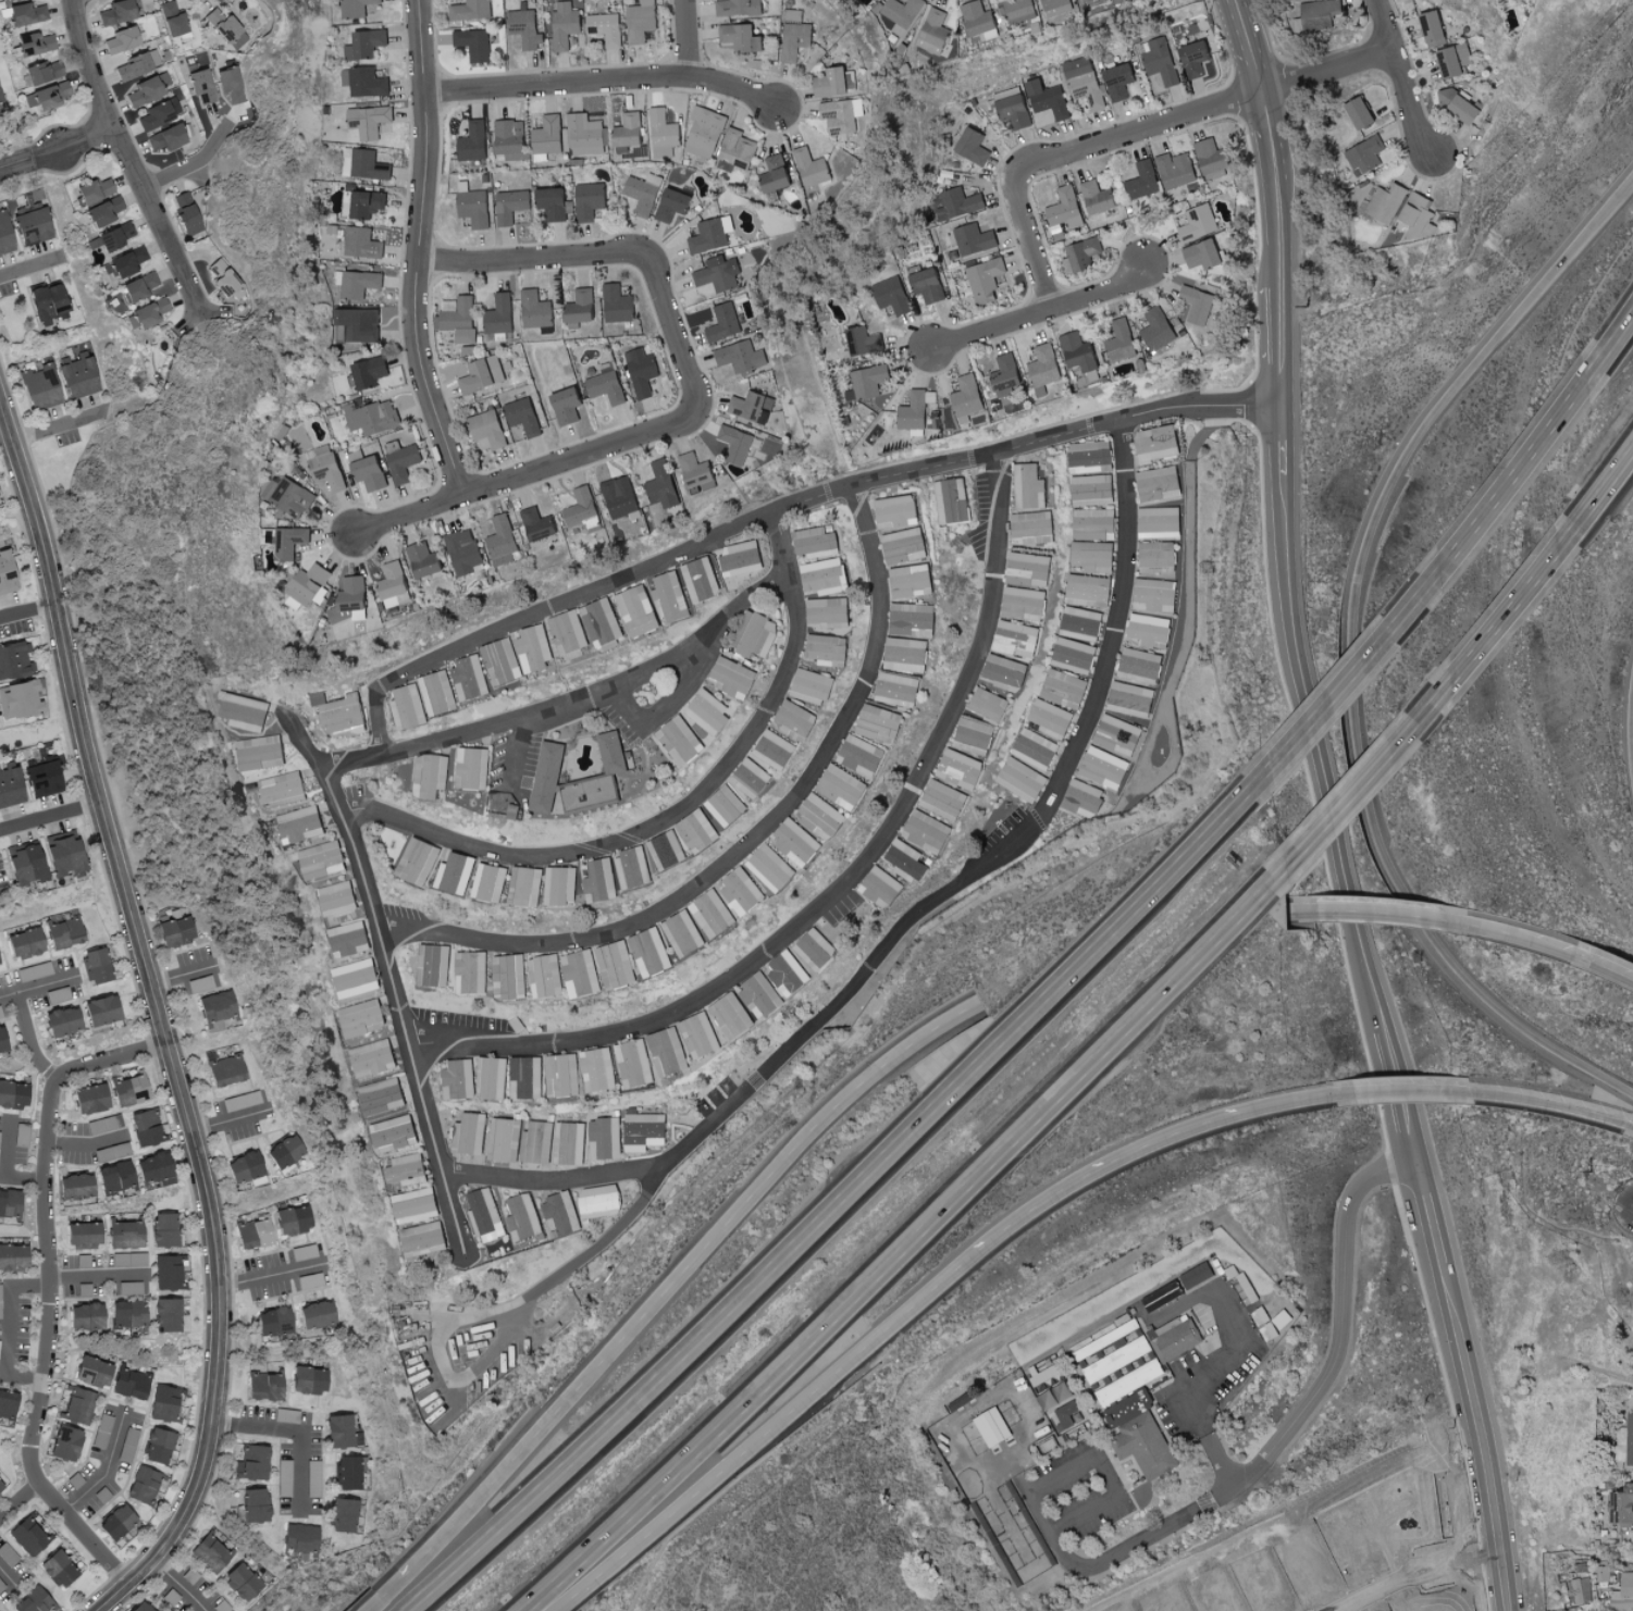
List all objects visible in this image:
building: (1096, 2)
building: (1057, 5)
building: (359, 7)
building: (740, 7)
building: (472, 9)
building: (1023, 12)
building: (117, 13)
building: (1321, 13)
building: (26, 14)
building: (902, 14)
building: (642, 20)
building: (981, 20)
building: (173, 21)
building: (566, 24)
building: (527, 26)
building: (607, 27)
building: (1434, 27)
building: (226, 28)
building: (936, 30)
building: (742, 36)
road: (689, 37)
building: (796, 38)
building: (121, 40)
building: (367, 42)
building: (475, 42)
building: (34, 45)
road: (1252, 45)
building: (1196, 58)
building: (1160, 59)
building: (1455, 59)
building: (138, 65)
building: (44, 72)
road: (1402, 77)
building: (366, 80)
building: (1085, 80)
building: (1119, 80)
road: (604, 82)
building: (837, 82)
building: (231, 85)
building: (201, 86)
building: (147, 90)
building: (47, 97)
building: (1049, 98)
building: (1460, 103)
building: (1014, 107)
road: (1270, 108)
building: (1362, 112)
building: (159, 114)
building: (844, 115)
building: (370, 120)
road: (1141, 128)
building: (630, 129)
building: (706, 131)
building: (665, 133)
building: (549, 134)
building: (587, 134)
building: (166, 138)
building: (511, 138)
building: (474, 140)
building: (974, 145)
building: (739, 147)
road: (57, 149)
road: (127, 154)
building: (1366, 154)
building: (1214, 158)
road: (1275, 160)
road: (193, 162)
building: (366, 163)
building: (813, 166)
building: (1176, 169)
building: (777, 173)
building: (1143, 179)
building: (94, 190)
building: (644, 191)
building: (1099, 197)
building: (591, 199)
building: (363, 202)
building: (554, 202)
building: (958, 202)
building: (673, 203)
building: (1385, 203)
building: (474, 205)
building: (512, 205)
building: (102, 212)
building: (186, 214)
building: (1418, 214)
building: (1199, 222)
building: (32, 224)
building: (4, 234)
building: (709, 235)
building: (114, 237)
building: (975, 238)
road: (1279, 239)
building: (363, 241)
road: (418, 250)
road: (593, 253)
building: (1204, 253)
building: (1083, 255)
building: (126, 263)
road: (30, 269)
building: (720, 273)
building: (986, 278)
building: (226, 282)
building: (358, 282)
building: (929, 285)
building: (138, 287)
building: (892, 295)
building: (48, 303)
building: (619, 303)
building: (1199, 303)
road: (195, 307)
building: (581, 308)
building: (536, 309)
road: (1041, 311)
building: (146, 314)
building: (458, 315)
building: (500, 315)
building: (725, 322)
building: (360, 323)
building: (1159, 329)
road: (1620, 335)
building: (1122, 339)
building: (864, 340)
road: (1278, 344)
building: (1079, 350)
building: (742, 356)
building: (1046, 364)
building: (371, 371)
building: (642, 371)
building: (1007, 373)
building: (483, 374)
building: (78, 375)
building: (870, 380)
building: (607, 383)
building: (40, 388)
building: (968, 399)
building: (568, 405)
building: (753, 406)
building: (524, 414)
building: (373, 416)
road: (58, 427)
road: (3, 430)
building: (488, 430)
road: (1282, 437)
building: (1159, 442)
building: (738, 443)
building: (1091, 455)
building: (403, 459)
building: (326, 466)
road: (540, 468)
building: (369, 469)
building: (697, 471)
building: (1160, 482)
building: (664, 483)
building: (1030, 485)
building: (1092, 488)
road: (1605, 490)
building: (289, 496)
building: (622, 496)
building: (953, 499)
building: (582, 505)
road: (783, 507)
building: (898, 509)
building: (1160, 520)
building: (539, 522)
building: (1094, 522)
building: (1035, 525)
building: (504, 538)
building: (290, 541)
building: (817, 541)
building: (906, 544)
building: (466, 549)
building: (1093, 555)
building: (1158, 555)
building: (742, 556)
building: (424, 558)
building: (1030, 568)
building: (7, 573)
building: (826, 574)
road: (1438, 574)
building: (703, 578)
building: (913, 579)
building: (310, 583)
building: (395, 583)
building: (1089, 588)
building: (1155, 592)
building: (672, 595)
building: (351, 598)
building: (1025, 602)
building: (639, 609)
building: (830, 610)
road: (26, 611)
building: (914, 617)
building: (604, 621)
building: (1080, 624)
building: (1151, 629)
building: (571, 632)
building: (757, 632)
building: (1018, 636)
road: (1295, 637)
building: (536, 645)
building: (829, 648)
building: (907, 653)
road: (1351, 653)
building: (1075, 654)
building: (15, 659)
building: (503, 659)
building: (1141, 664)
building: (1007, 671)
building: (734, 676)
building: (470, 677)
building: (814, 685)
building: (900, 686)
building: (1064, 687)
building: (438, 691)
building: (18, 698)
building: (1133, 701)
road: (665, 703)
building: (990, 703)
building: (408, 705)
road: (569, 705)
road: (1430, 706)
building: (247, 710)
building: (709, 712)
building: (1051, 717)
building: (797, 719)
building: (881, 722)
building: (1118, 733)
building: (976, 734)
building: (681, 739)
building: (778, 746)
building: (1036, 747)
building: (261, 751)
building: (614, 751)
road: (518, 754)
building: (863, 754)
building: (1105, 766)
building: (473, 767)
building: (962, 767)
building: (431, 773)
building: (549, 774)
building: (42, 777)
building: (1022, 778)
building: (10, 784)
building: (843, 785)
building: (283, 786)
building: (591, 791)
building: (1084, 796)
building: (945, 798)
building: (727, 804)
building: (515, 809)
road: (672, 811)
building: (824, 814)
road: (49, 816)
building: (301, 823)
building: (697, 829)
building: (929, 830)
building: (799, 841)
road: (757, 847)
building: (668, 848)
building: (64, 854)
building: (323, 858)
building: (908, 858)
building: (419, 859)
building: (25, 863)
building: (634, 866)
building: (772, 866)
building: (457, 871)
building: (602, 879)
building: (491, 882)
building: (561, 882)
building: (528, 884)
building: (882, 885)
road: (840, 888)
building: (743, 889)
building: (338, 896)
building: (714, 912)
road: (1297, 912)
road: (1374, 912)
road: (1356, 913)
road: (910, 914)
road: (1475, 927)
building: (176, 931)
building: (65, 932)
building: (685, 932)
building: (348, 937)
building: (25, 943)
building: (817, 947)
building: (653, 950)
road: (1572, 952)
building: (434, 963)
building: (618, 963)
building: (97, 965)
road: (388, 970)
building: (472, 970)
building: (790, 970)
building: (583, 971)
road: (1632, 972)
building: (547, 974)
road: (181, 975)
building: (510, 975)
building: (357, 977)
building: (200, 983)
road: (39, 987)
building: (763, 994)
building: (101, 1009)
building: (217, 1009)
building: (733, 1014)
building: (361, 1016)
building: (62, 1020)
road: (158, 1023)
building: (697, 1034)
building: (2, 1041)
road: (28, 1041)
building: (668, 1051)
building: (372, 1057)
building: (630, 1063)
building: (598, 1067)
building: (226, 1070)
building: (562, 1074)
building: (525, 1075)
building: (493, 1077)
building: (459, 1078)
building: (129, 1090)
road: (1418, 1090)
building: (381, 1093)
building: (13, 1094)
building: (90, 1099)
road: (1299, 1099)
road: (1401, 1099)
road: (1556, 1100)
building: (242, 1101)
road: (230, 1121)
building: (104, 1124)
road: (1632, 1124)
building: (145, 1128)
building: (645, 1130)
building: (394, 1131)
building: (469, 1132)
building: (21, 1135)
building: (605, 1137)
building: (505, 1138)
building: (537, 1141)
building: (570, 1141)
road: (85, 1147)
building: (121, 1150)
building: (285, 1151)
road: (3, 1167)
building: (244, 1167)
building: (408, 1168)
building: (154, 1169)
power tower: (1589, 1174)
building: (115, 1177)
building: (75, 1186)
building: (601, 1200)
building: (10, 1203)
building: (417, 1204)
road: (836, 1205)
building: (561, 1212)
building: (485, 1213)
building: (523, 1216)
road: (1428, 1216)
building: (293, 1220)
building: (164, 1230)
building: (255, 1232)
building: (84, 1235)
building: (125, 1235)
building: (424, 1237)
road: (908, 1247)
building: (304, 1252)
building: (13, 1257)
building: (128, 1260)
building: (83, 1261)
building: (1197, 1273)
road: (273, 1276)
road: (99, 1278)
building: (309, 1280)
building: (129, 1288)
building: (84, 1290)
road: (49, 1292)
road: (668, 1294)
building: (1163, 1294)
building: (0, 1299)
road: (494, 1310)
building: (128, 1313)
building: (317, 1314)
building: (166, 1315)
building: (86, 1316)
building: (1283, 1317)
building: (274, 1322)
building: (1126, 1322)
road: (3, 1329)
building: (1176, 1336)
road: (881, 1337)
road: (1229, 1355)
building: (1117, 1358)
building: (94, 1372)
building: (1052, 1372)
building: (309, 1380)
building: (1129, 1380)
building: (131, 1384)
building: (265, 1386)
road: (1320, 1393)
building: (164, 1403)
building: (8, 1404)
building: (77, 1405)
building: (1069, 1414)
building: (286, 1415)
building: (993, 1426)
building: (102, 1430)
road: (296, 1432)
building: (342, 1433)
building: (1141, 1434)
building: (1626, 1436)
road: (1474, 1437)
building: (65, 1443)
building: (1048, 1443)
building: (158, 1446)
building: (252, 1462)
road: (106, 1469)
building: (349, 1472)
road: (1062, 1472)
building: (284, 1478)
building: (312, 1478)
building: (144, 1485)
building: (0, 1486)
road: (18, 1502)
building: (255, 1504)
building: (1622, 1505)
building: (343, 1515)
building: (116, 1523)
building: (27, 1536)
building: (300, 1538)
building: (210, 1553)
building: (8, 1556)
building: (58, 1569)
road: (1414, 1573)
building: (1603, 1573)
road: (8, 1578)
building: (242, 1582)
road: (180, 1584)
building: (1, 1586)
building: (1582, 1589)
building: (1623, 1593)
building: (34, 1601)
building: (140, 1607)
building: (221, 1607)

